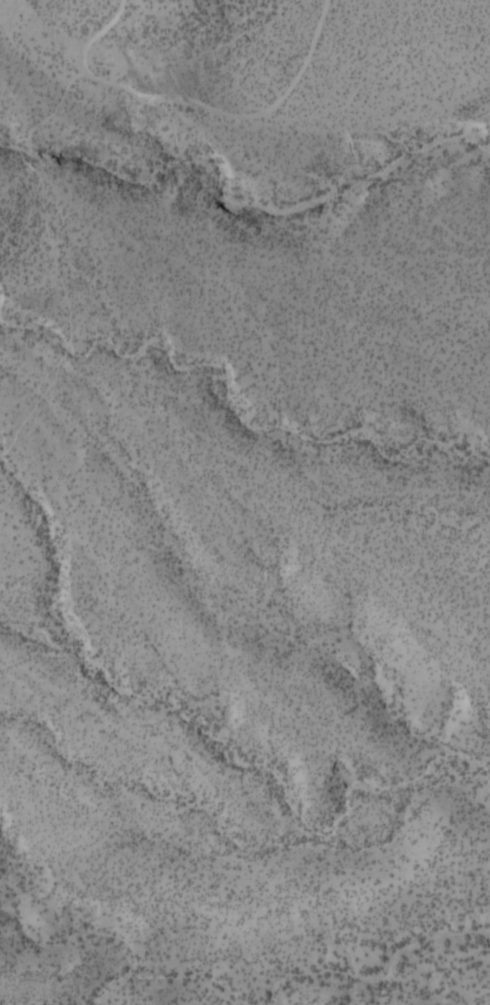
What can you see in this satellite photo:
road: (36, 45)
road: (193, 108)

